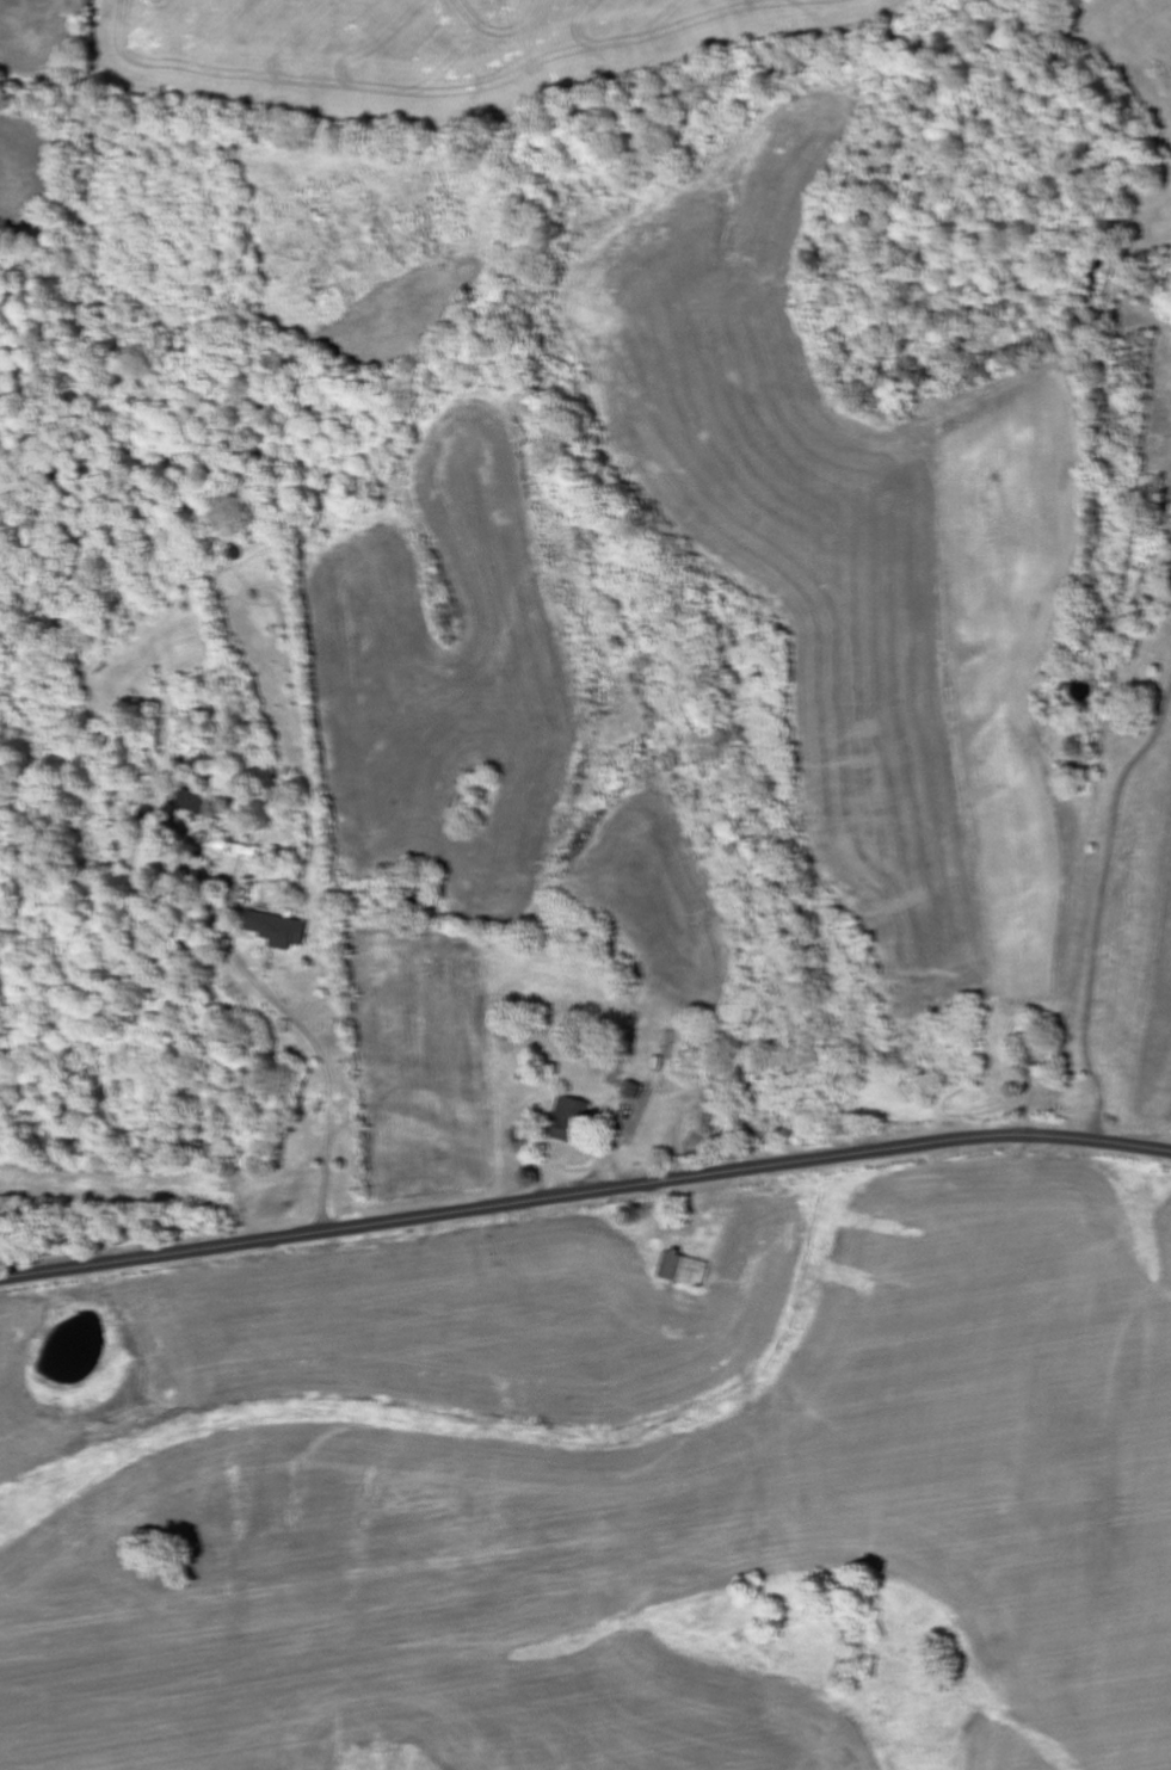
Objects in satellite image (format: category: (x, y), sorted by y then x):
building: (153, 863)
building: (281, 931)
building: (636, 1091)
building: (573, 1121)
road: (584, 1194)
building: (686, 1270)

